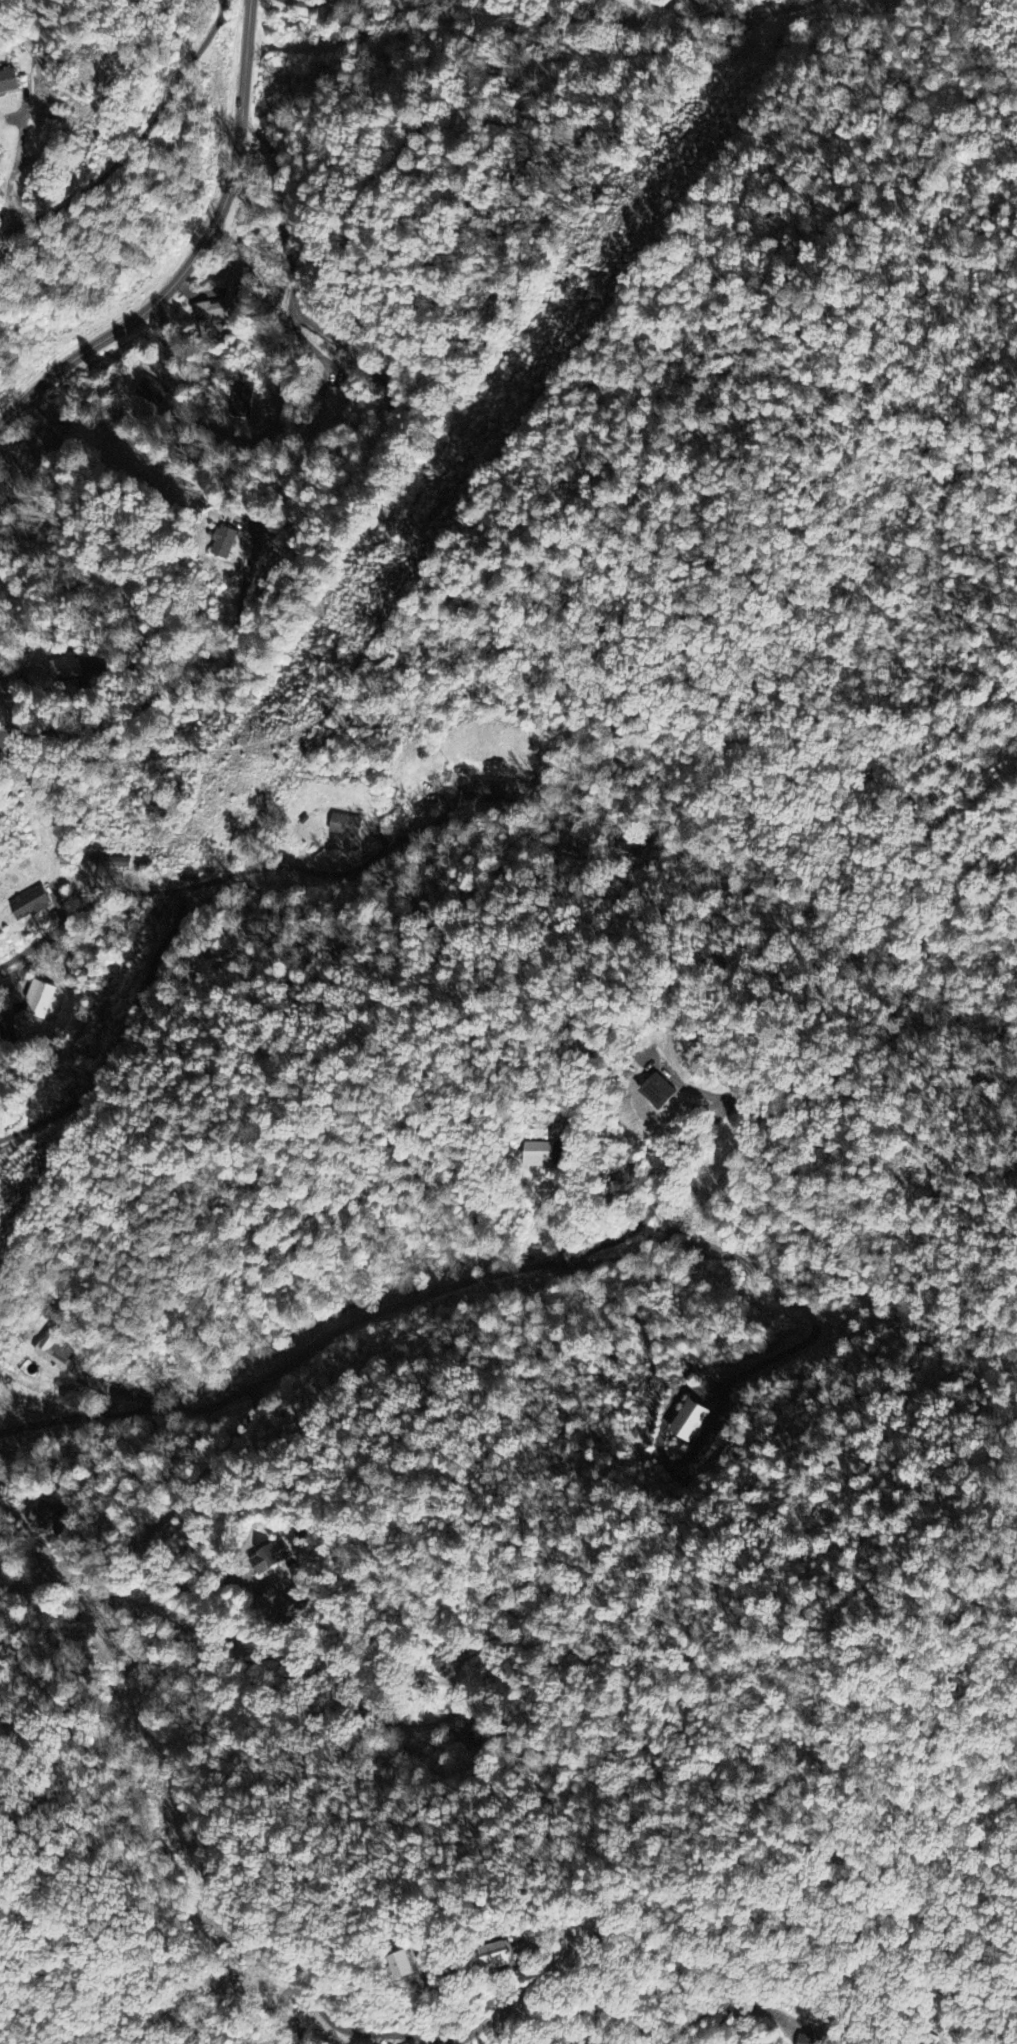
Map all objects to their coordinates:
building: (699, 4)
building: (8, 79)
road: (483, 95)
road: (24, 109)
road: (118, 163)
power tower: (639, 205)
road: (12, 228)
road: (197, 253)
building: (210, 324)
road: (388, 390)
building: (152, 393)
building: (242, 401)
building: (336, 404)
building: (44, 446)
building: (224, 543)
power tower: (374, 563)
building: (66, 669)
building: (491, 792)
road: (434, 823)
building: (345, 827)
building: (108, 863)
road: (197, 885)
building: (30, 905)
building: (39, 1000)
building: (659, 1092)
building: (538, 1155)
power tower: (12, 1170)
road: (569, 1199)
road: (379, 1314)
building: (53, 1350)
building: (689, 1422)
building: (44, 1518)
building: (270, 1559)
building: (279, 1605)
road: (195, 1663)
building: (496, 1955)
road: (556, 1965)
building: (401, 1967)
road: (894, 2016)
road: (372, 2034)
building: (809, 2039)

